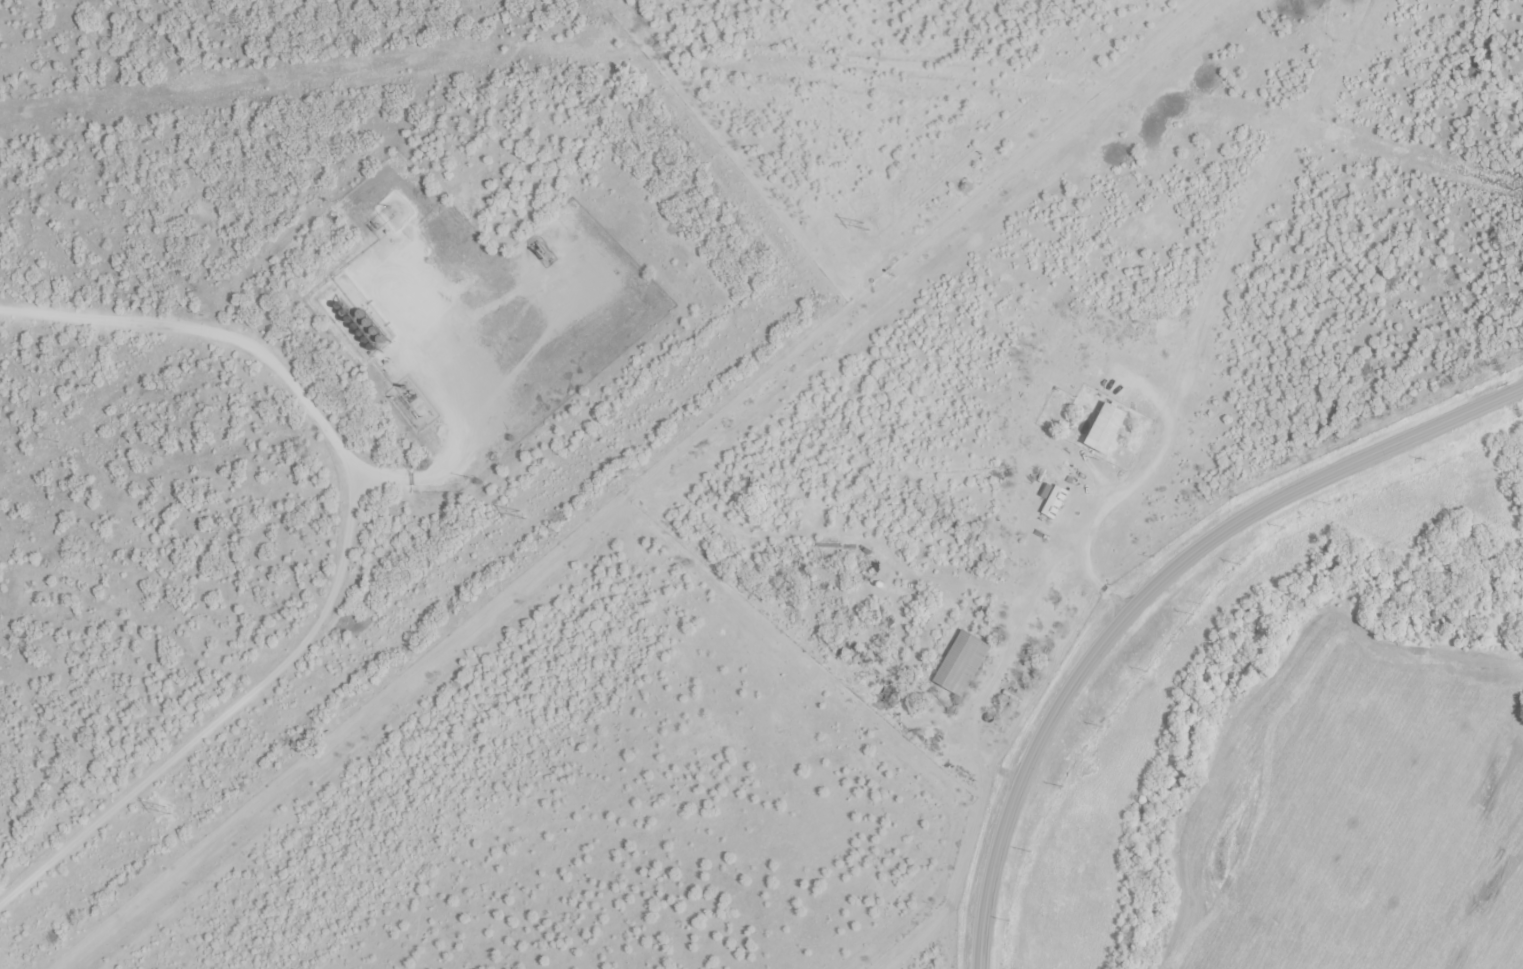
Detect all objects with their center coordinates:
power tower: (865, 227)
road: (297, 391)
building: (1106, 430)
road: (454, 448)
road: (1121, 493)
building: (1053, 504)
power tower: (522, 515)
road: (1153, 592)
building: (961, 665)
road: (136, 787)
power tower: (168, 811)

